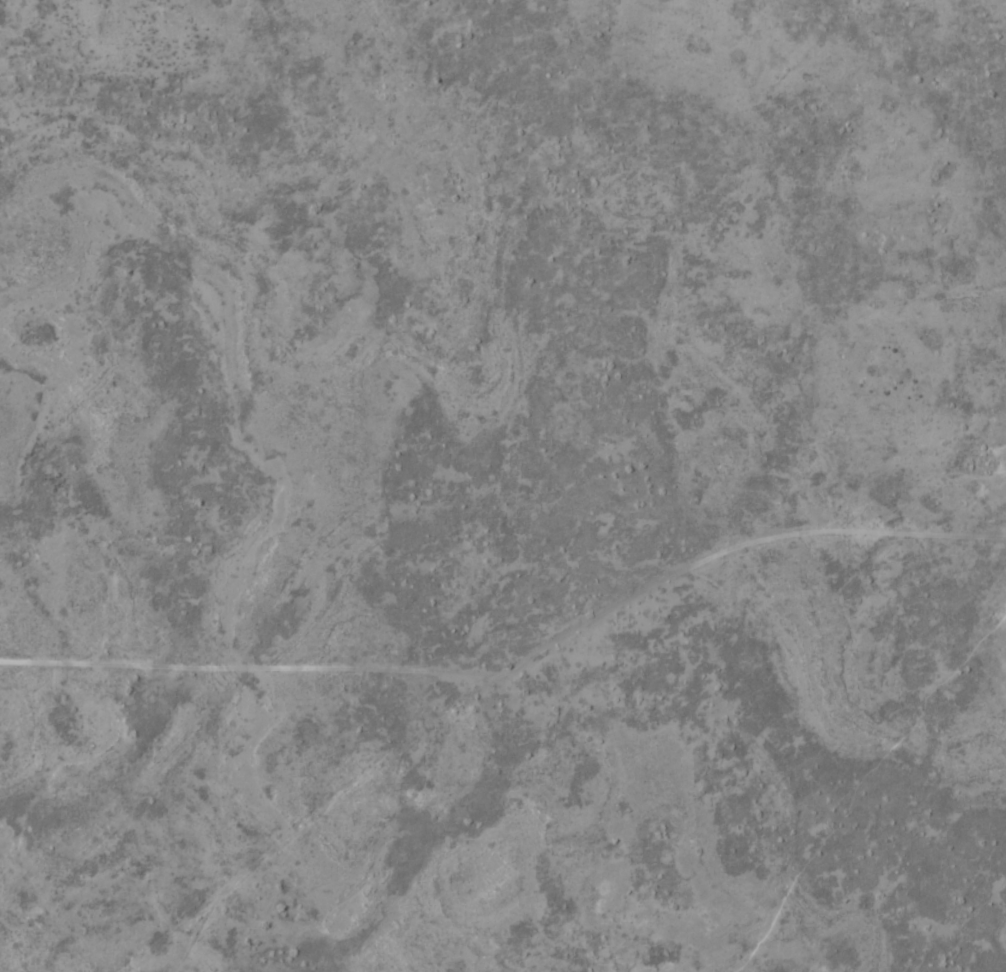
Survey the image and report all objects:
road: (542, 673)

